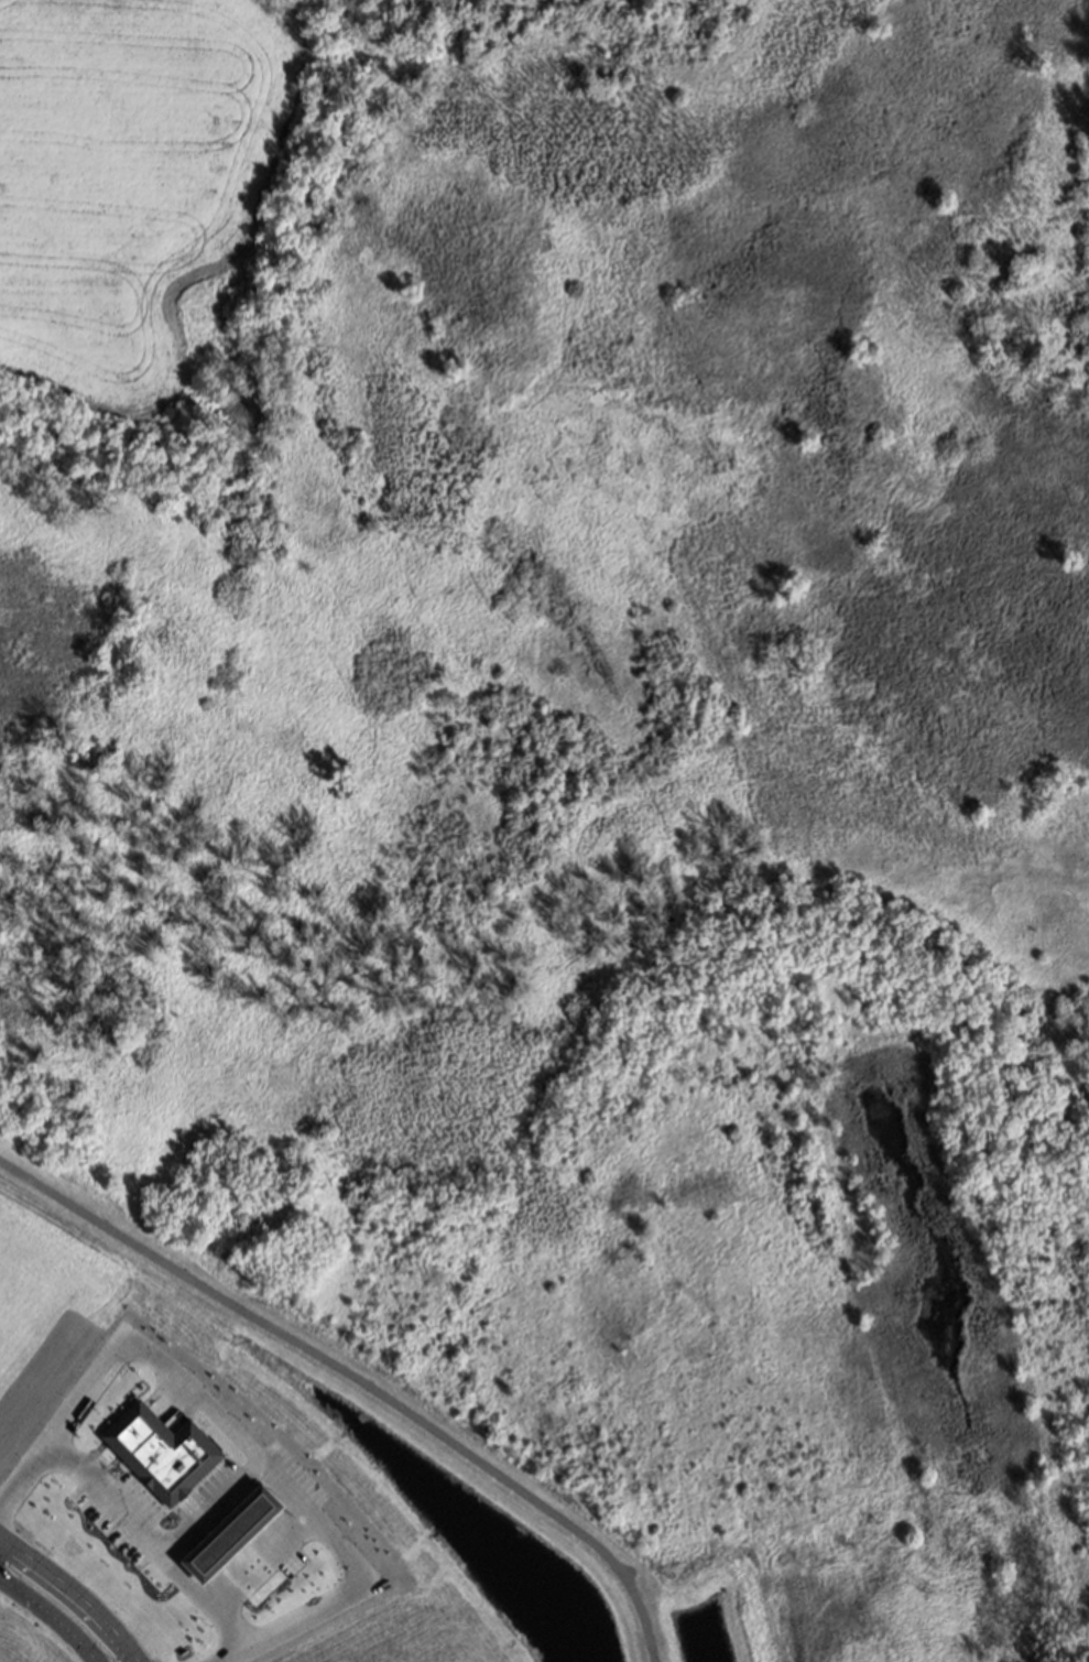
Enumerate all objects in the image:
crop: (137, 203)
road: (240, 1435)
building: (163, 1456)
road: (211, 1502)
road: (150, 1535)
building: (230, 1536)
gas station: (230, 1536)
road: (73, 1593)
road: (48, 1618)

